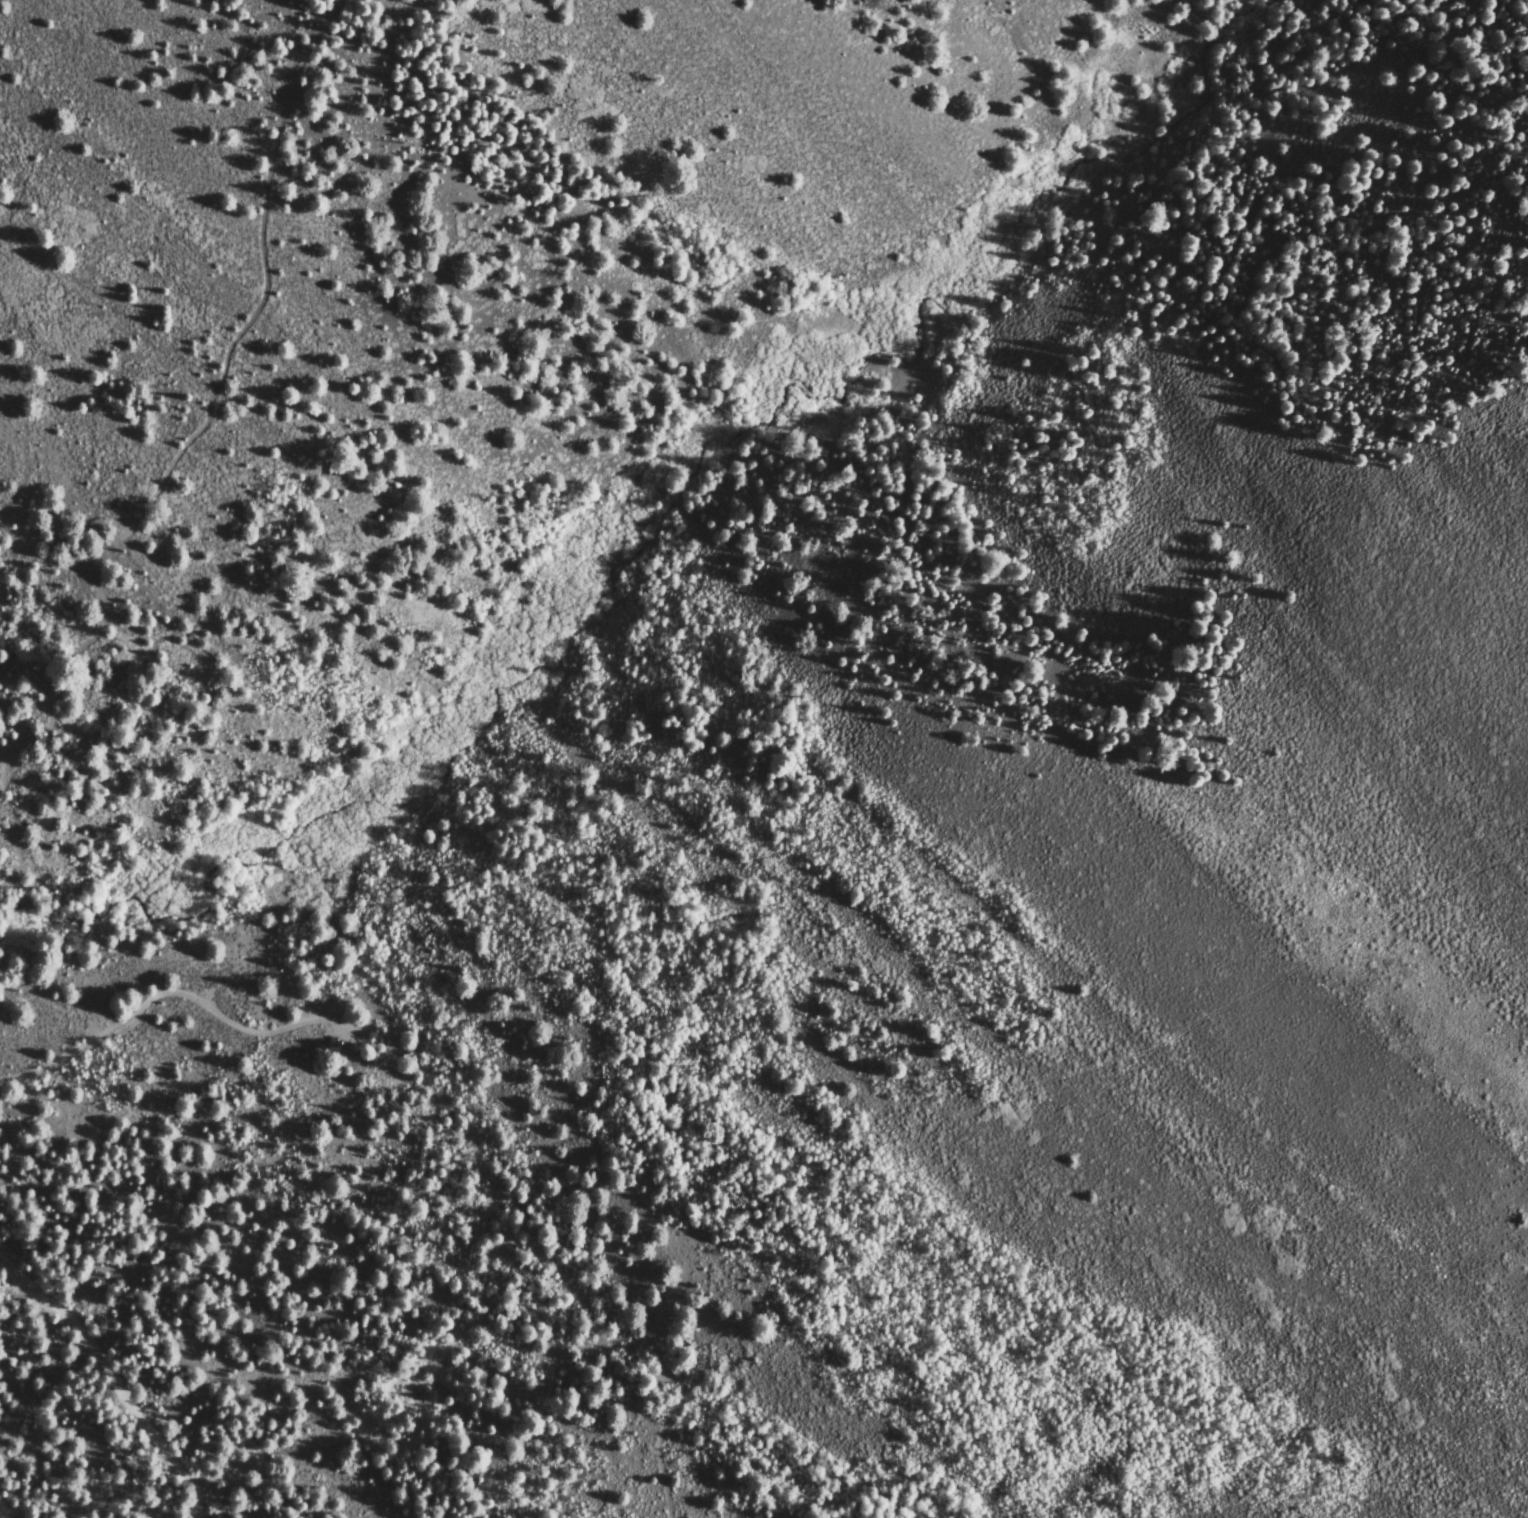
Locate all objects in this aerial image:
road: (203, 423)
building: (328, 1047)
road: (450, 1102)
road: (111, 1377)

